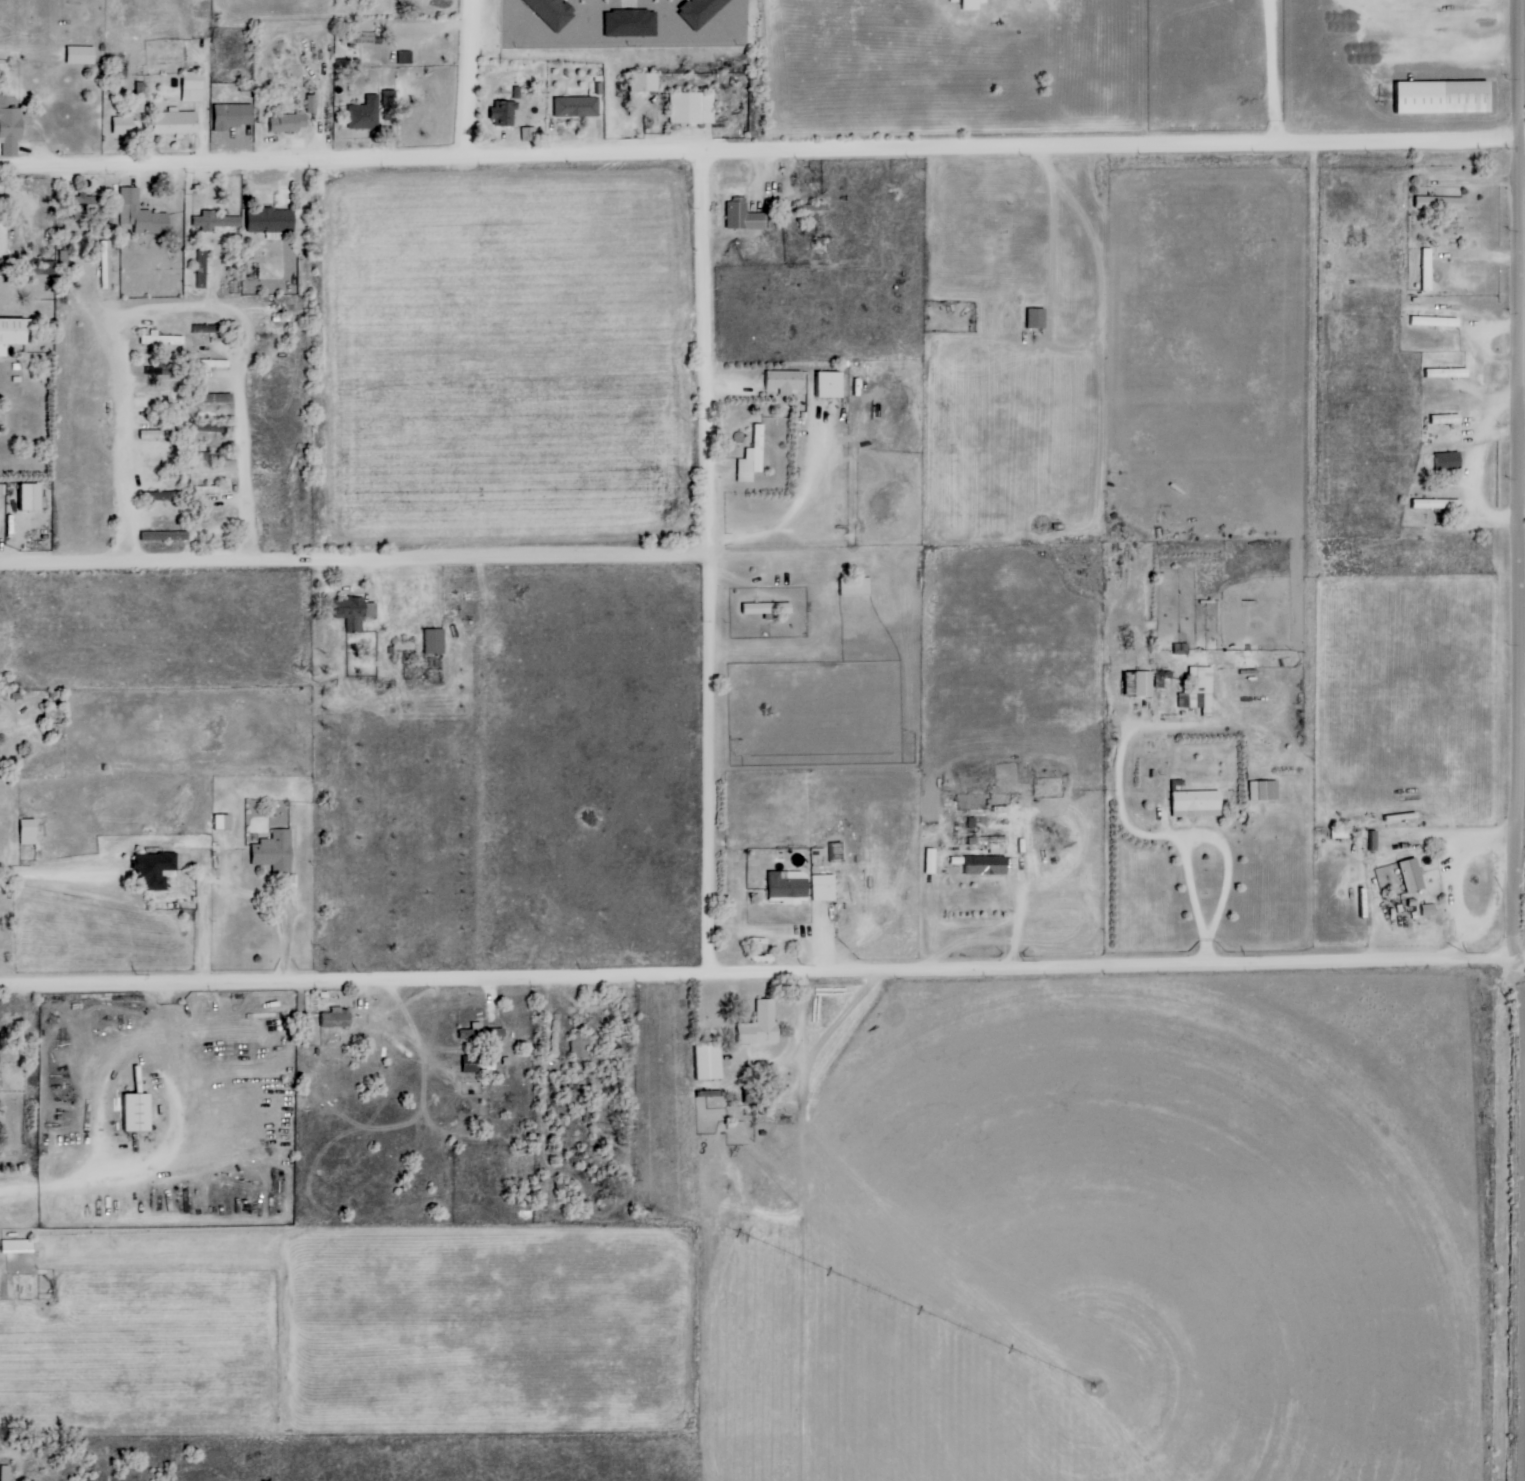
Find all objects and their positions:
building: (972, 4)
building: (700, 11)
building: (553, 12)
building: (632, 23)
building: (362, 38)
building: (81, 55)
building: (406, 58)
road: (1519, 68)
road: (1273, 73)
road: (480, 80)
building: (645, 82)
building: (193, 87)
building: (1443, 97)
building: (311, 104)
building: (390, 105)
building: (577, 107)
building: (506, 108)
building: (692, 108)
building: (365, 114)
building: (234, 116)
building: (176, 123)
building: (288, 123)
building: (123, 125)
building: (10, 128)
building: (528, 134)
road: (1287, 146)
road: (528, 159)
building: (1441, 203)
building: (89, 205)
building: (141, 214)
building: (747, 218)
building: (217, 221)
building: (271, 222)
road: (1002, 226)
building: (3, 234)
building: (203, 264)
building: (106, 265)
building: (44, 268)
building: (1426, 270)
building: (64, 272)
road: (186, 313)
building: (1037, 318)
building: (1435, 322)
building: (12, 334)
building: (161, 339)
building: (163, 371)
building: (1447, 373)
building: (829, 385)
building: (218, 399)
building: (1445, 419)
building: (211, 427)
building: (161, 435)
building: (753, 457)
road: (1472, 458)
building: (1449, 461)
building: (162, 467)
building: (212, 490)
building: (161, 497)
building: (30, 498)
building: (165, 536)
road: (358, 562)
road: (717, 563)
road: (1517, 579)
road: (780, 584)
building: (856, 588)
building: (768, 608)
building: (356, 613)
building: (435, 642)
building: (404, 646)
building: (1182, 649)
building: (1140, 684)
building: (1199, 691)
road: (1128, 780)
building: (1264, 790)
building: (1197, 804)
building: (222, 822)
building: (28, 832)
road: (1221, 839)
building: (994, 844)
building: (275, 852)
building: (837, 852)
building: (931, 861)
building: (983, 865)
road: (805, 868)
building: (155, 870)
building: (1407, 875)
road: (232, 886)
building: (790, 886)
building: (824, 887)
road: (1020, 898)
power tower: (1464, 951)
power tower: (1242, 954)
road: (1519, 955)
power tower: (1021, 957)
power tower: (798, 961)
power tower: (576, 965)
power tower: (355, 968)
power tower: (133, 972)
road: (757, 977)
building: (336, 1018)
building: (761, 1025)
building: (580, 1045)
road: (806, 1045)
building: (709, 1061)
building: (750, 1096)
building: (137, 1113)
road: (165, 1156)
building: (17, 1246)
building: (4, 1478)

